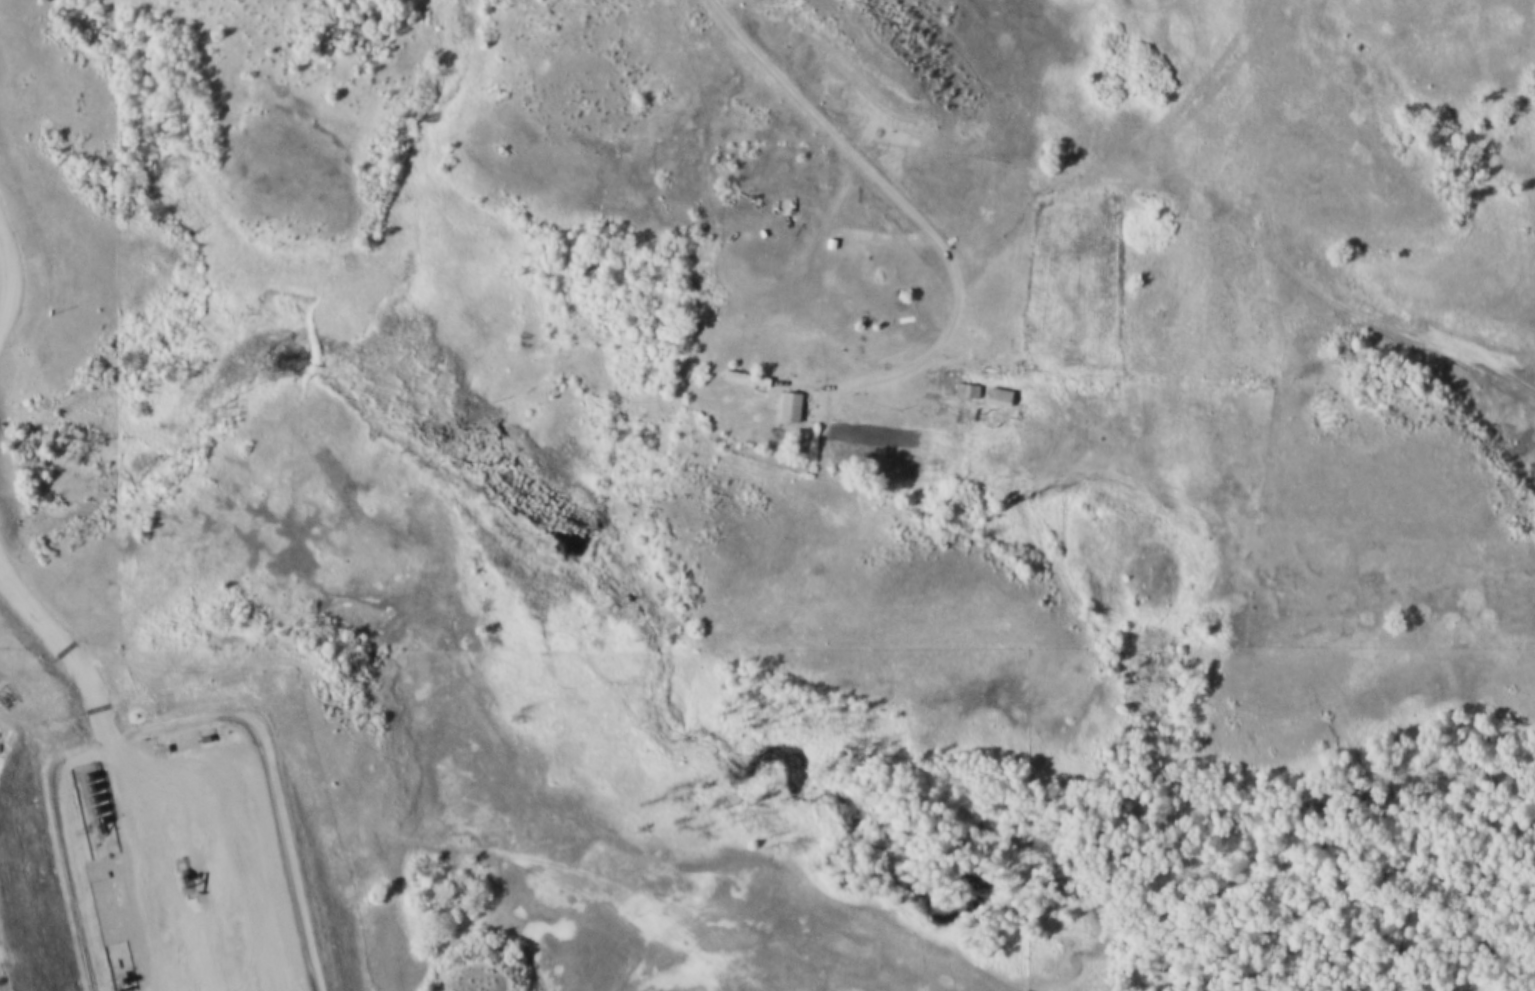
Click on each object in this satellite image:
road: (1187, 107)
road: (911, 217)
road: (1246, 239)
road: (2, 284)
building: (741, 378)
building: (959, 393)
building: (991, 399)
building: (784, 407)
road: (114, 770)
building: (77, 776)
storage tank: (77, 776)
building: (79, 788)
storage tank: (79, 788)
building: (81, 799)
storage tank: (81, 799)
building: (84, 810)
storage tank: (84, 810)
petroleum well: (177, 877)
road: (794, 990)

